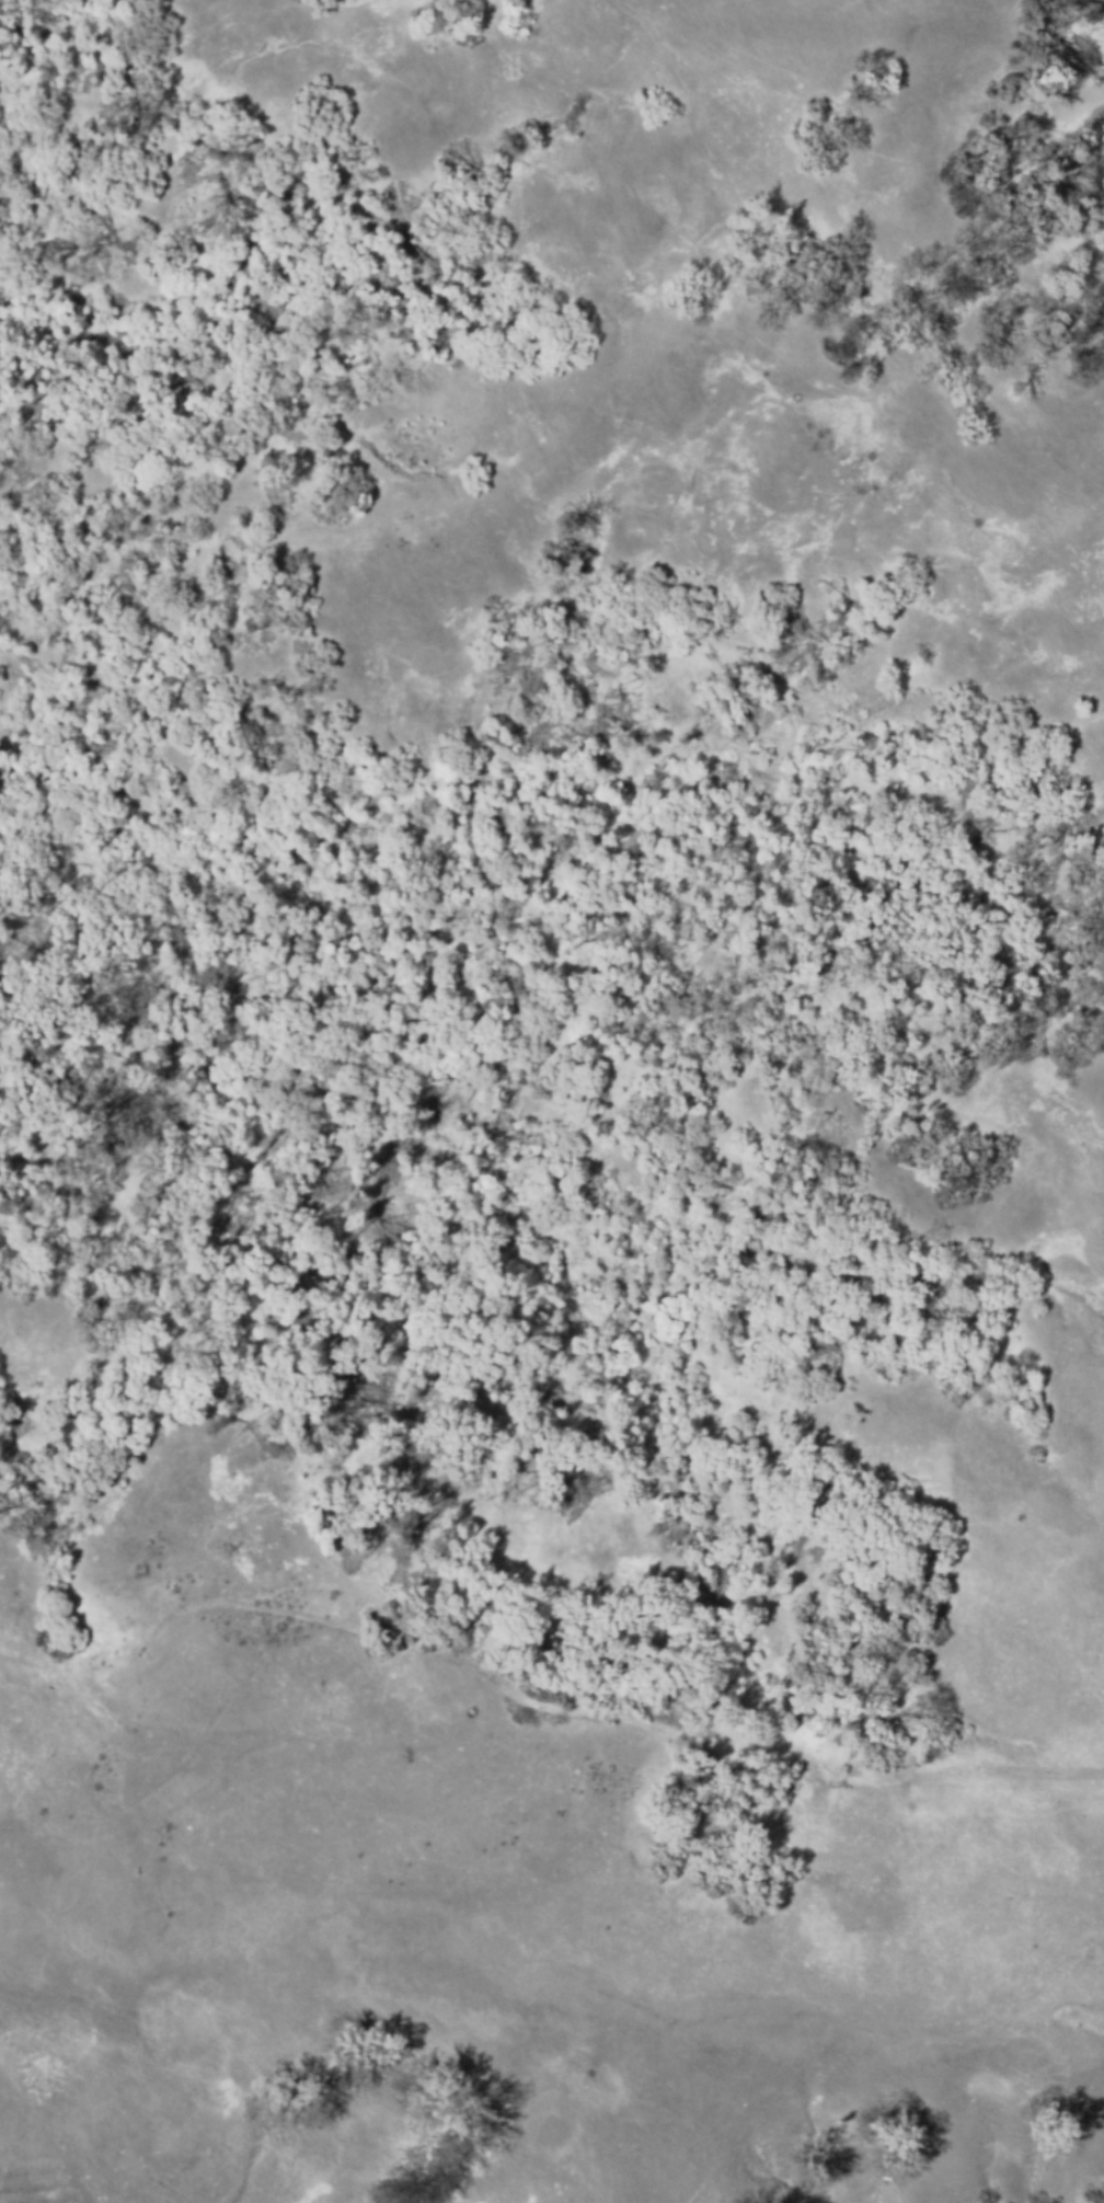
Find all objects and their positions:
road: (806, 1920)

